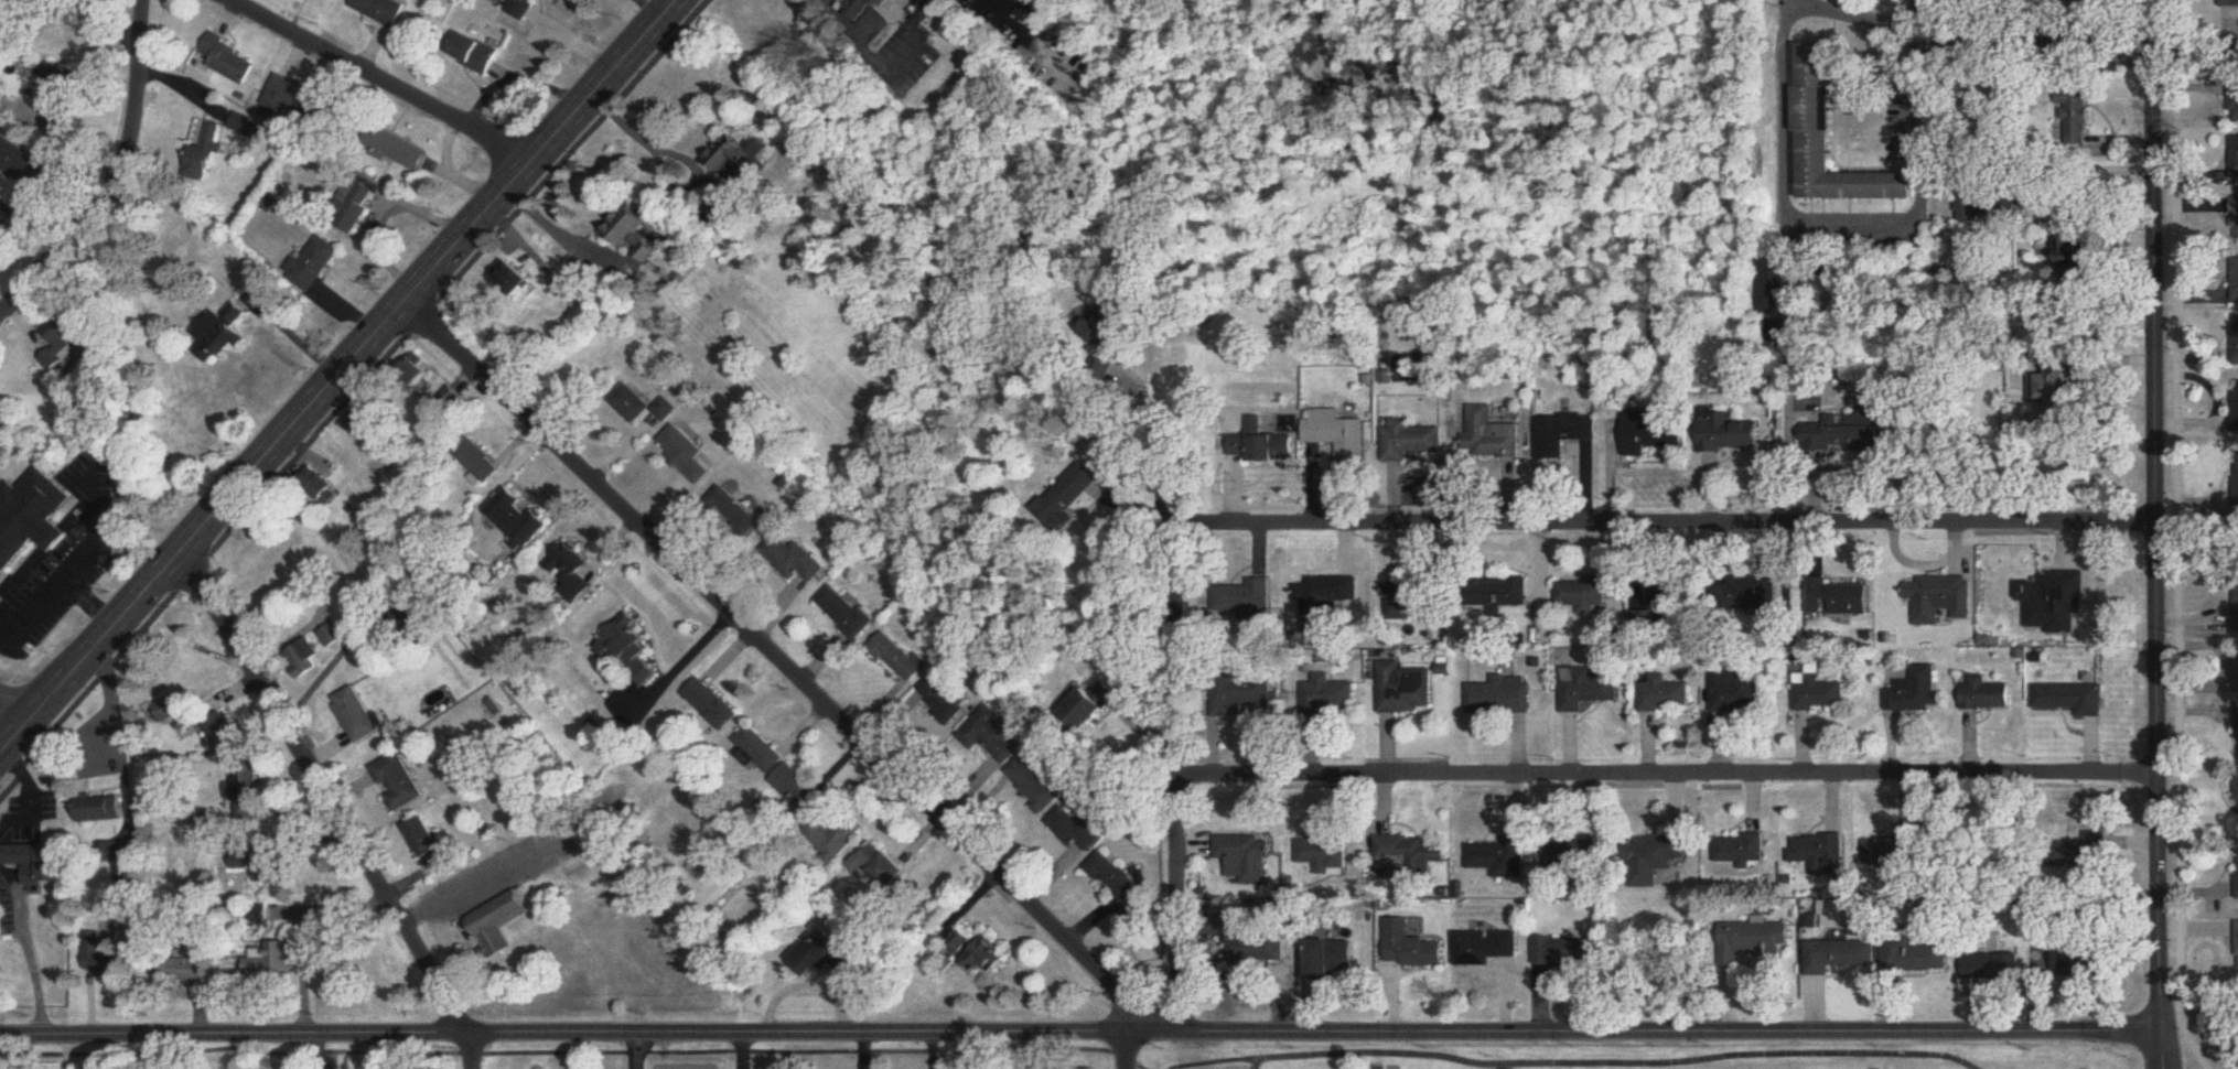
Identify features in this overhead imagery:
building: (2229, 2)
road: (1014, 8)
building: (521, 9)
building: (861, 9)
building: (381, 11)
road: (2073, 41)
road: (852, 42)
building: (477, 55)
building: (230, 62)
road: (379, 80)
road: (1909, 80)
building: (298, 101)
building: (57, 112)
building: (2076, 117)
road: (641, 134)
building: (1833, 140)
building: (397, 151)
building: (203, 153)
building: (2232, 158)
building: (744, 159)
building: (21, 164)
road: (118, 181)
road: (1787, 190)
building: (355, 206)
road: (386, 214)
building: (2234, 217)
building: (2, 222)
building: (632, 226)
road: (552, 227)
building: (647, 252)
building: (2074, 252)
building: (318, 264)
building: (517, 279)
building: (2235, 280)
building: (1772, 285)
building: (1107, 325)
building: (225, 333)
building: (2235, 341)
building: (62, 343)
road: (338, 375)
building: (416, 379)
building: (451, 398)
building: (642, 406)
building: (2235, 408)
building: (367, 423)
building: (1654, 431)
building: (1337, 434)
building: (1562, 434)
building: (1728, 434)
building: (1843, 434)
building: (1496, 438)
building: (1408, 440)
building: (1260, 445)
road: (1151, 450)
building: (687, 454)
building: (476, 461)
building: (2235, 482)
building: (321, 486)
building: (1068, 497)
building: (734, 514)
road: (2153, 516)
building: (31, 518)
building: (518, 518)
road: (1666, 527)
building: (794, 559)
road: (74, 562)
building: (573, 573)
building: (1937, 593)
building: (1498, 594)
building: (1755, 594)
building: (1326, 595)
building: (1582, 595)
building: (1242, 597)
building: (1413, 598)
building: (1837, 598)
road: (87, 600)
building: (2052, 602)
building: (2236, 606)
building: (847, 612)
building: (332, 637)
building: (631, 649)
building: (901, 657)
building: (304, 659)
road: (680, 661)
building: (2234, 662)
road: (789, 673)
building: (1588, 689)
building: (1407, 690)
building: (1735, 690)
building: (1914, 692)
building: (1817, 693)
building: (1242, 694)
building: (1328, 694)
building: (1664, 695)
building: (1984, 695)
building: (1503, 697)
road: (15, 699)
building: (2069, 699)
building: (945, 700)
building: (1095, 705)
building: (717, 708)
building: (164, 712)
building: (357, 715)
building: (2234, 716)
building: (226, 732)
building: (996, 736)
building: (758, 751)
road: (1179, 779)
road: (1668, 779)
building: (399, 782)
building: (1035, 785)
road: (29, 790)
building: (796, 791)
building: (2236, 793)
building: (252, 796)
road: (330, 807)
building: (101, 809)
building: (1080, 831)
building: (835, 839)
building: (430, 844)
building: (1737, 849)
building: (1321, 851)
building: (1569, 851)
building: (1884, 851)
building: (1658, 852)
building: (1819, 854)
building: (1414, 856)
building: (1496, 856)
building: (1249, 859)
building: (41, 863)
building: (879, 864)
building: (271, 871)
building: (2236, 877)
road: (448, 889)
building: (260, 918)
building: (498, 924)
building: (957, 932)
road: (303, 936)
building: (1753, 936)
building: (961, 939)
building: (2236, 942)
building: (1410, 943)
building: (1482, 944)
building: (1258, 947)
road: (28, 948)
building: (1562, 949)
building: (1834, 951)
building: (1907, 951)
building: (1327, 953)
building: (824, 954)
building: (100, 957)
building: (986, 957)
building: (2075, 959)
building: (271, 960)
building: (1992, 961)
building: (184, 971)
road: (1079, 1030)
road: (636, 1050)
road: (2160, 1050)
park: (1623, 1057)

